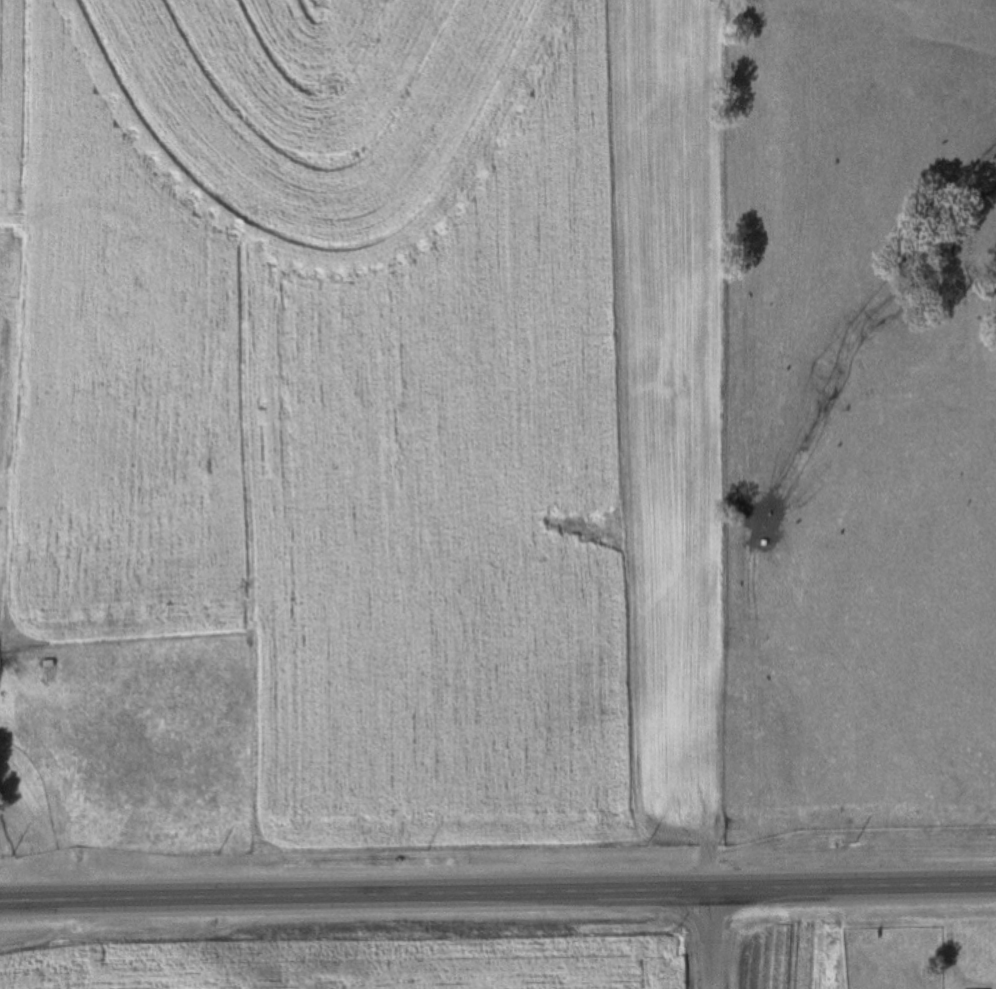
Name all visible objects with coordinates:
road: (497, 894)
road: (710, 940)

